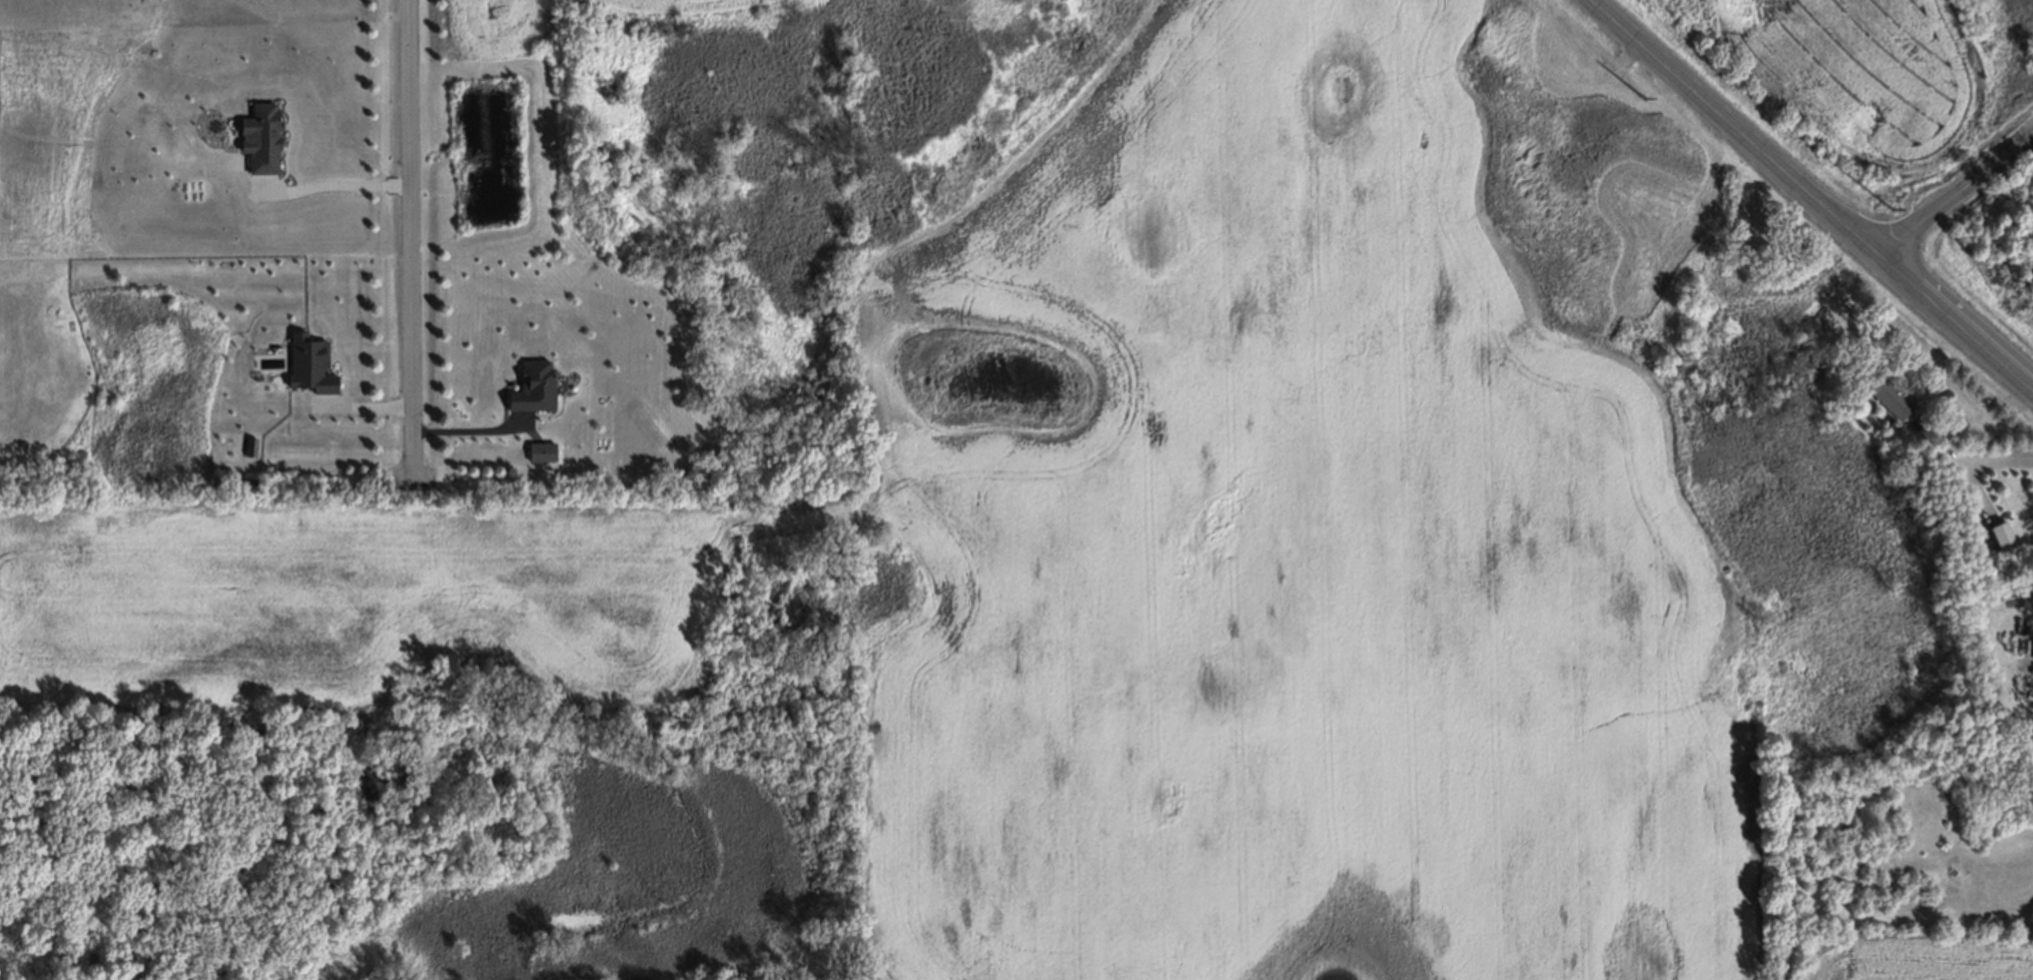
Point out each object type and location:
power tower: (1642, 98)
road: (338, 184)
road: (1812, 198)
road: (1956, 198)
power tower: (1892, 209)
road: (410, 235)
building: (309, 363)
building: (534, 384)
building: (1882, 393)
road: (468, 426)
road: (1973, 464)
building: (2003, 539)

